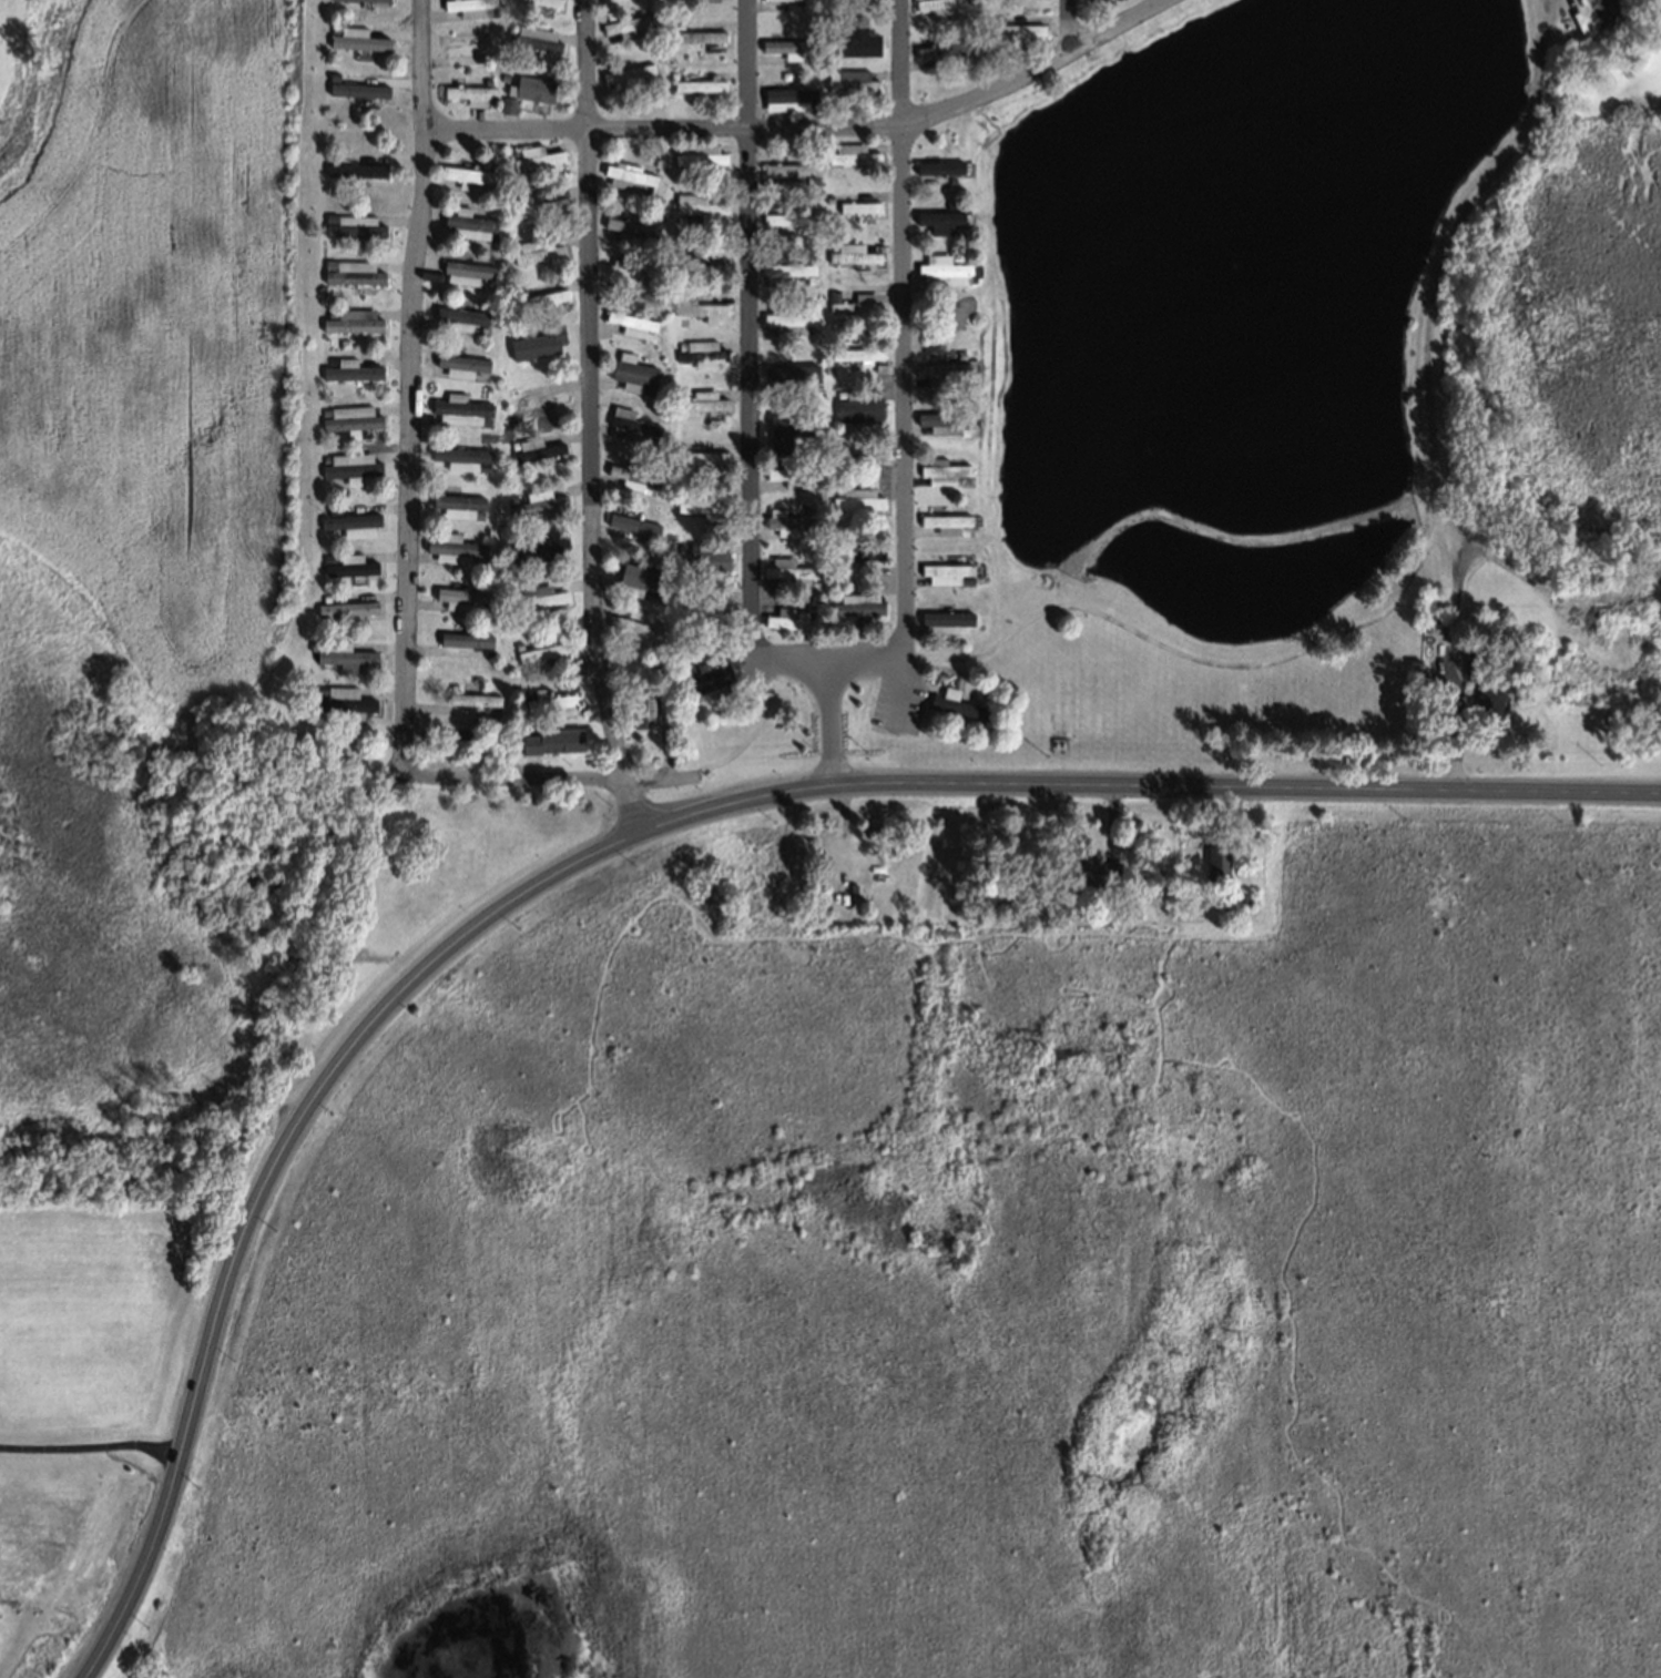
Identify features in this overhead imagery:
building: (368, 0)
building: (791, 0)
building: (1089, 0)
building: (546, 1)
building: (1096, 1)
building: (469, 4)
building: (806, 4)
building: (937, 6)
building: (496, 10)
building: (998, 19)
building: (629, 20)
building: (679, 22)
building: (508, 23)
building: (334, 24)
road: (1067, 28)
building: (1017, 29)
building: (357, 33)
building: (852, 33)
building: (699, 35)
building: (533, 40)
building: (463, 41)
building: (785, 44)
building: (859, 44)
building: (939, 48)
building: (805, 54)
building: (959, 59)
road: (591, 63)
building: (622, 70)
building: (830, 71)
building: (502, 74)
building: (485, 78)
building: (651, 78)
building: (529, 84)
building: (697, 84)
building: (852, 84)
building: (358, 85)
building: (469, 89)
building: (789, 93)
building: (506, 101)
road: (812, 128)
building: (674, 143)
building: (512, 150)
building: (536, 152)
building: (699, 153)
building: (852, 153)
building: (329, 154)
building: (356, 165)
building: (940, 167)
building: (784, 169)
building: (468, 172)
building: (626, 172)
building: (807, 180)
building: (941, 182)
building: (490, 185)
building: (645, 186)
building: (827, 196)
building: (534, 200)
building: (952, 201)
building: (858, 202)
building: (699, 205)
building: (329, 214)
building: (679, 216)
building: (941, 217)
building: (467, 218)
building: (789, 220)
building: (355, 222)
building: (628, 224)
building: (809, 228)
building: (493, 236)
building: (832, 243)
building: (510, 244)
building: (538, 247)
building: (699, 254)
building: (956, 254)
building: (853, 256)
building: (328, 260)
building: (354, 268)
building: (466, 268)
building: (942, 268)
building: (784, 271)
building: (628, 272)
building: (485, 279)
building: (809, 279)
building: (512, 289)
building: (832, 292)
building: (540, 294)
building: (544, 299)
building: (857, 305)
building: (697, 307)
building: (330, 309)
building: (458, 314)
building: (353, 317)
building: (629, 319)
building: (787, 321)
building: (480, 327)
building: (808, 329)
building: (645, 332)
building: (512, 337)
building: (680, 343)
building: (538, 344)
building: (960, 350)
building: (854, 352)
building: (701, 353)
building: (551, 354)
building: (332, 357)
building: (458, 360)
road: (754, 362)
road: (906, 364)
building: (882, 365)
building: (351, 366)
building: (631, 369)
building: (940, 370)
building: (789, 374)
road: (1421, 383)
road: (415, 388)
building: (649, 388)
building: (517, 391)
building: (679, 391)
building: (540, 397)
building: (701, 399)
building: (858, 404)
building: (458, 406)
building: (325, 409)
building: (350, 415)
building: (482, 418)
building: (626, 419)
building: (942, 420)
building: (787, 423)
building: (816, 429)
building: (783, 433)
building: (652, 438)
building: (679, 443)
building: (534, 446)
building: (855, 451)
building: (458, 454)
building: (324, 456)
building: (702, 456)
building: (960, 459)
building: (351, 465)
building: (481, 465)
building: (632, 471)
building: (942, 471)
building: (788, 475)
road: (592, 481)
building: (648, 488)
building: (838, 488)
building: (677, 492)
building: (509, 496)
building: (857, 498)
building: (701, 500)
building: (456, 501)
building: (536, 502)
building: (333, 507)
building: (476, 512)
building: (349, 517)
building: (786, 520)
building: (631, 522)
building: (944, 522)
building: (814, 531)
building: (838, 539)
building: (652, 540)
building: (514, 542)
building: (451, 545)
building: (537, 546)
building: (856, 551)
building: (327, 555)
building: (707, 559)
building: (479, 560)
building: (350, 562)
building: (945, 568)
building: (788, 571)
building: (633, 577)
building: (962, 579)
building: (814, 583)
building: (514, 591)
building: (538, 593)
building: (645, 593)
building: (833, 594)
building: (324, 596)
building: (459, 596)
building: (685, 597)
building: (856, 602)
building: (816, 603)
building: (346, 606)
building: (482, 606)
building: (703, 609)
building: (787, 618)
building: (941, 620)
building: (633, 627)
building: (959, 628)
building: (462, 637)
building: (659, 641)
building: (315, 642)
building: (516, 643)
building: (543, 649)
building: (487, 650)
building: (343, 652)
building: (1412, 660)
building: (660, 661)
building: (1469, 663)
building: (684, 665)
building: (1420, 675)
building: (707, 678)
road: (910, 680)
building: (319, 688)
building: (524, 691)
building: (976, 692)
building: (471, 695)
building: (345, 699)
building: (550, 699)
building: (1487, 699)
building: (641, 701)
building: (956, 702)
building: (476, 730)
road: (830, 730)
building: (562, 735)
building: (475, 742)
building: (547, 748)
road: (527, 779)
road: (1149, 787)
building: (1220, 862)
building: (1097, 872)
road: (269, 1183)
road: (93, 1444)

